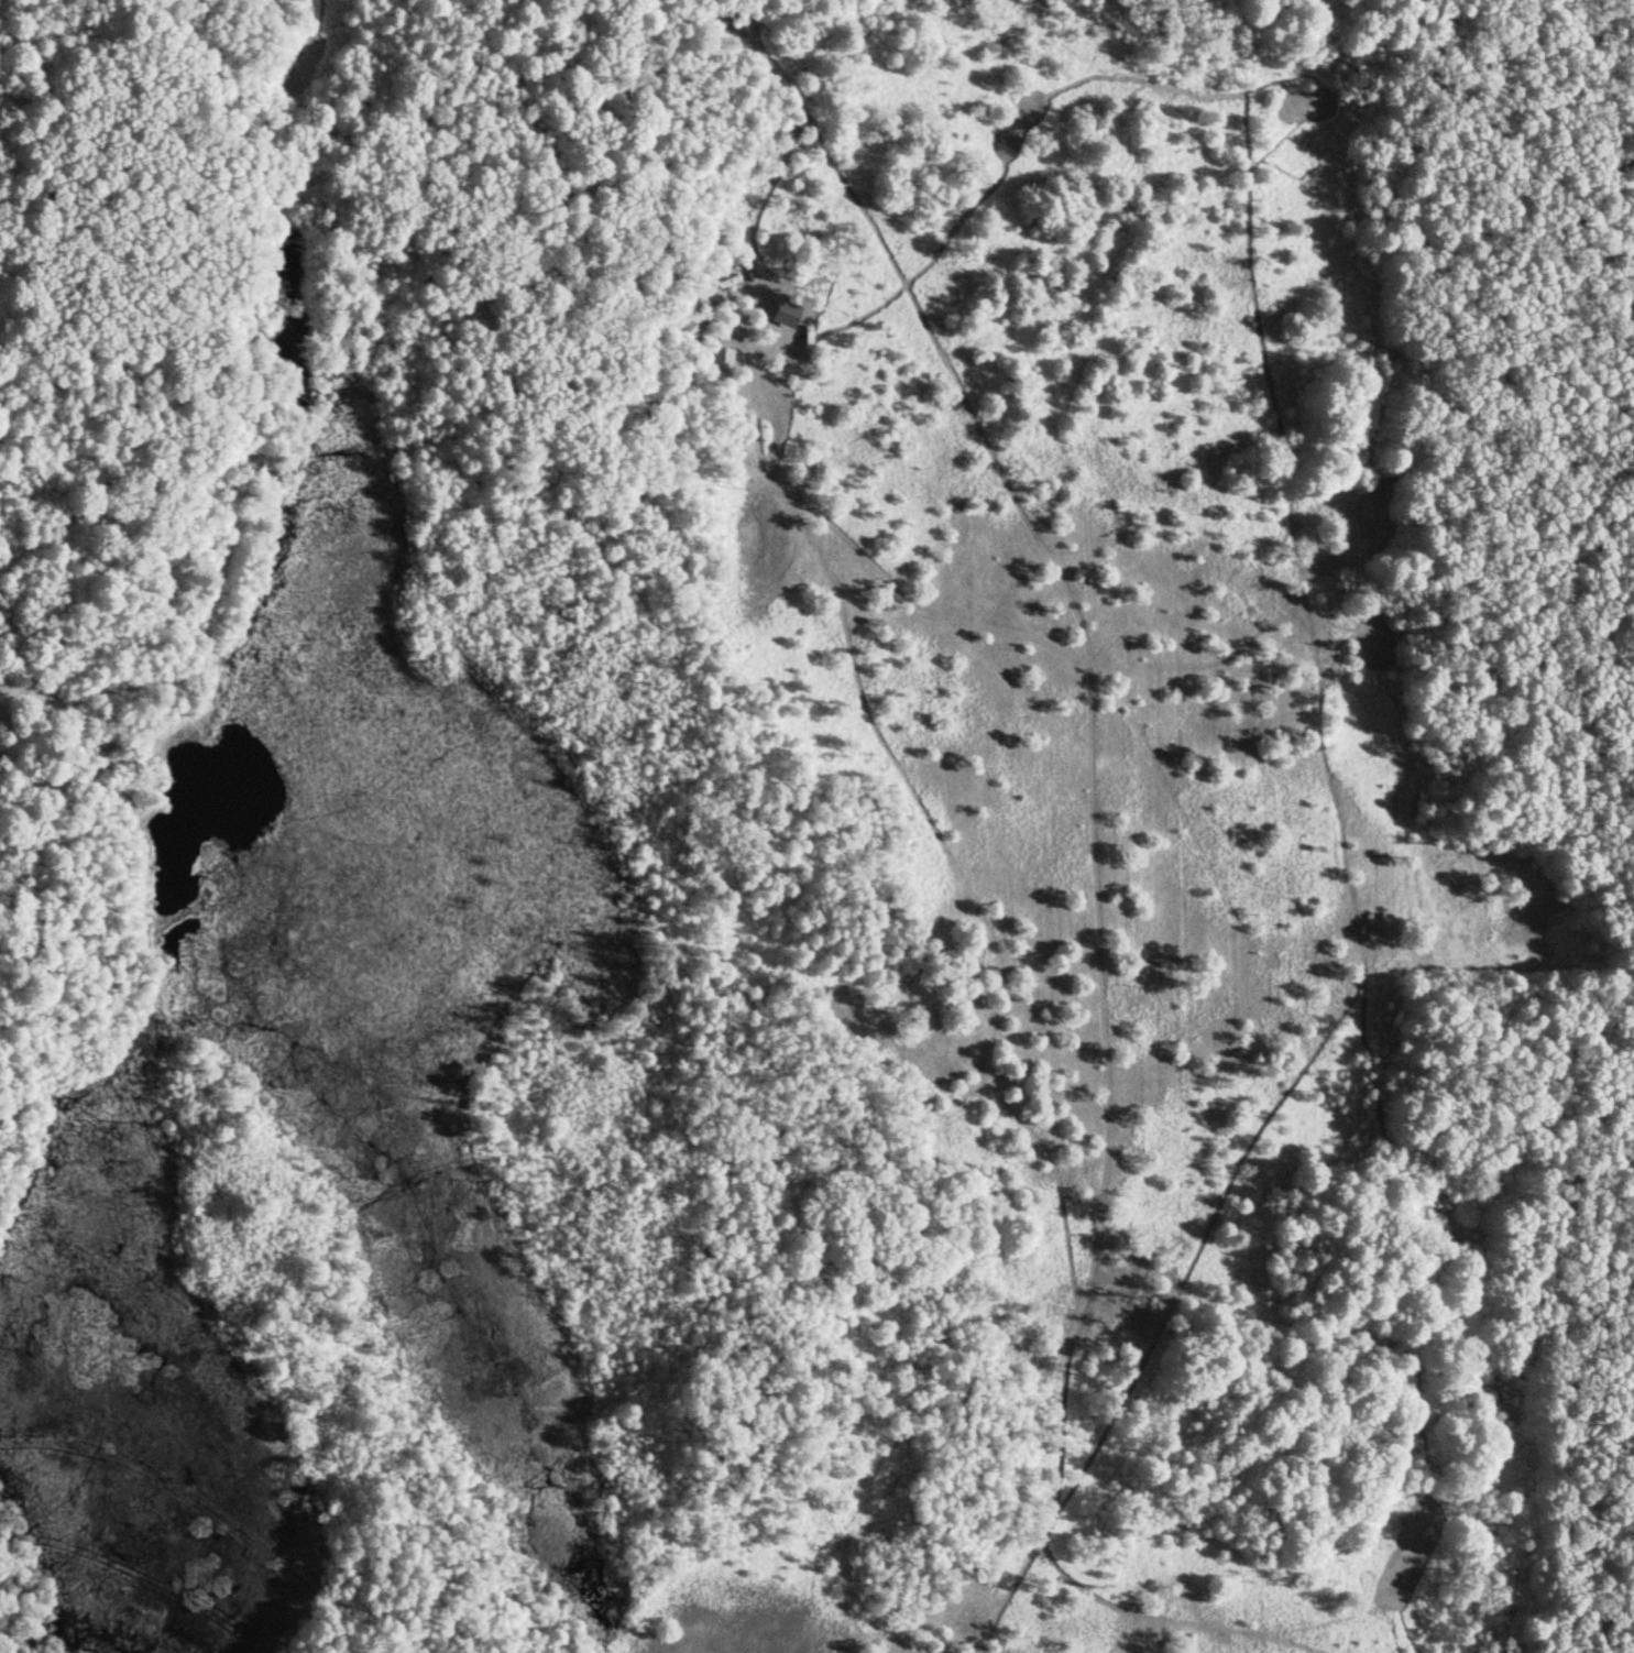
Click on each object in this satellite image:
road: (786, 146)
building: (719, 362)
road: (1242, 1162)

